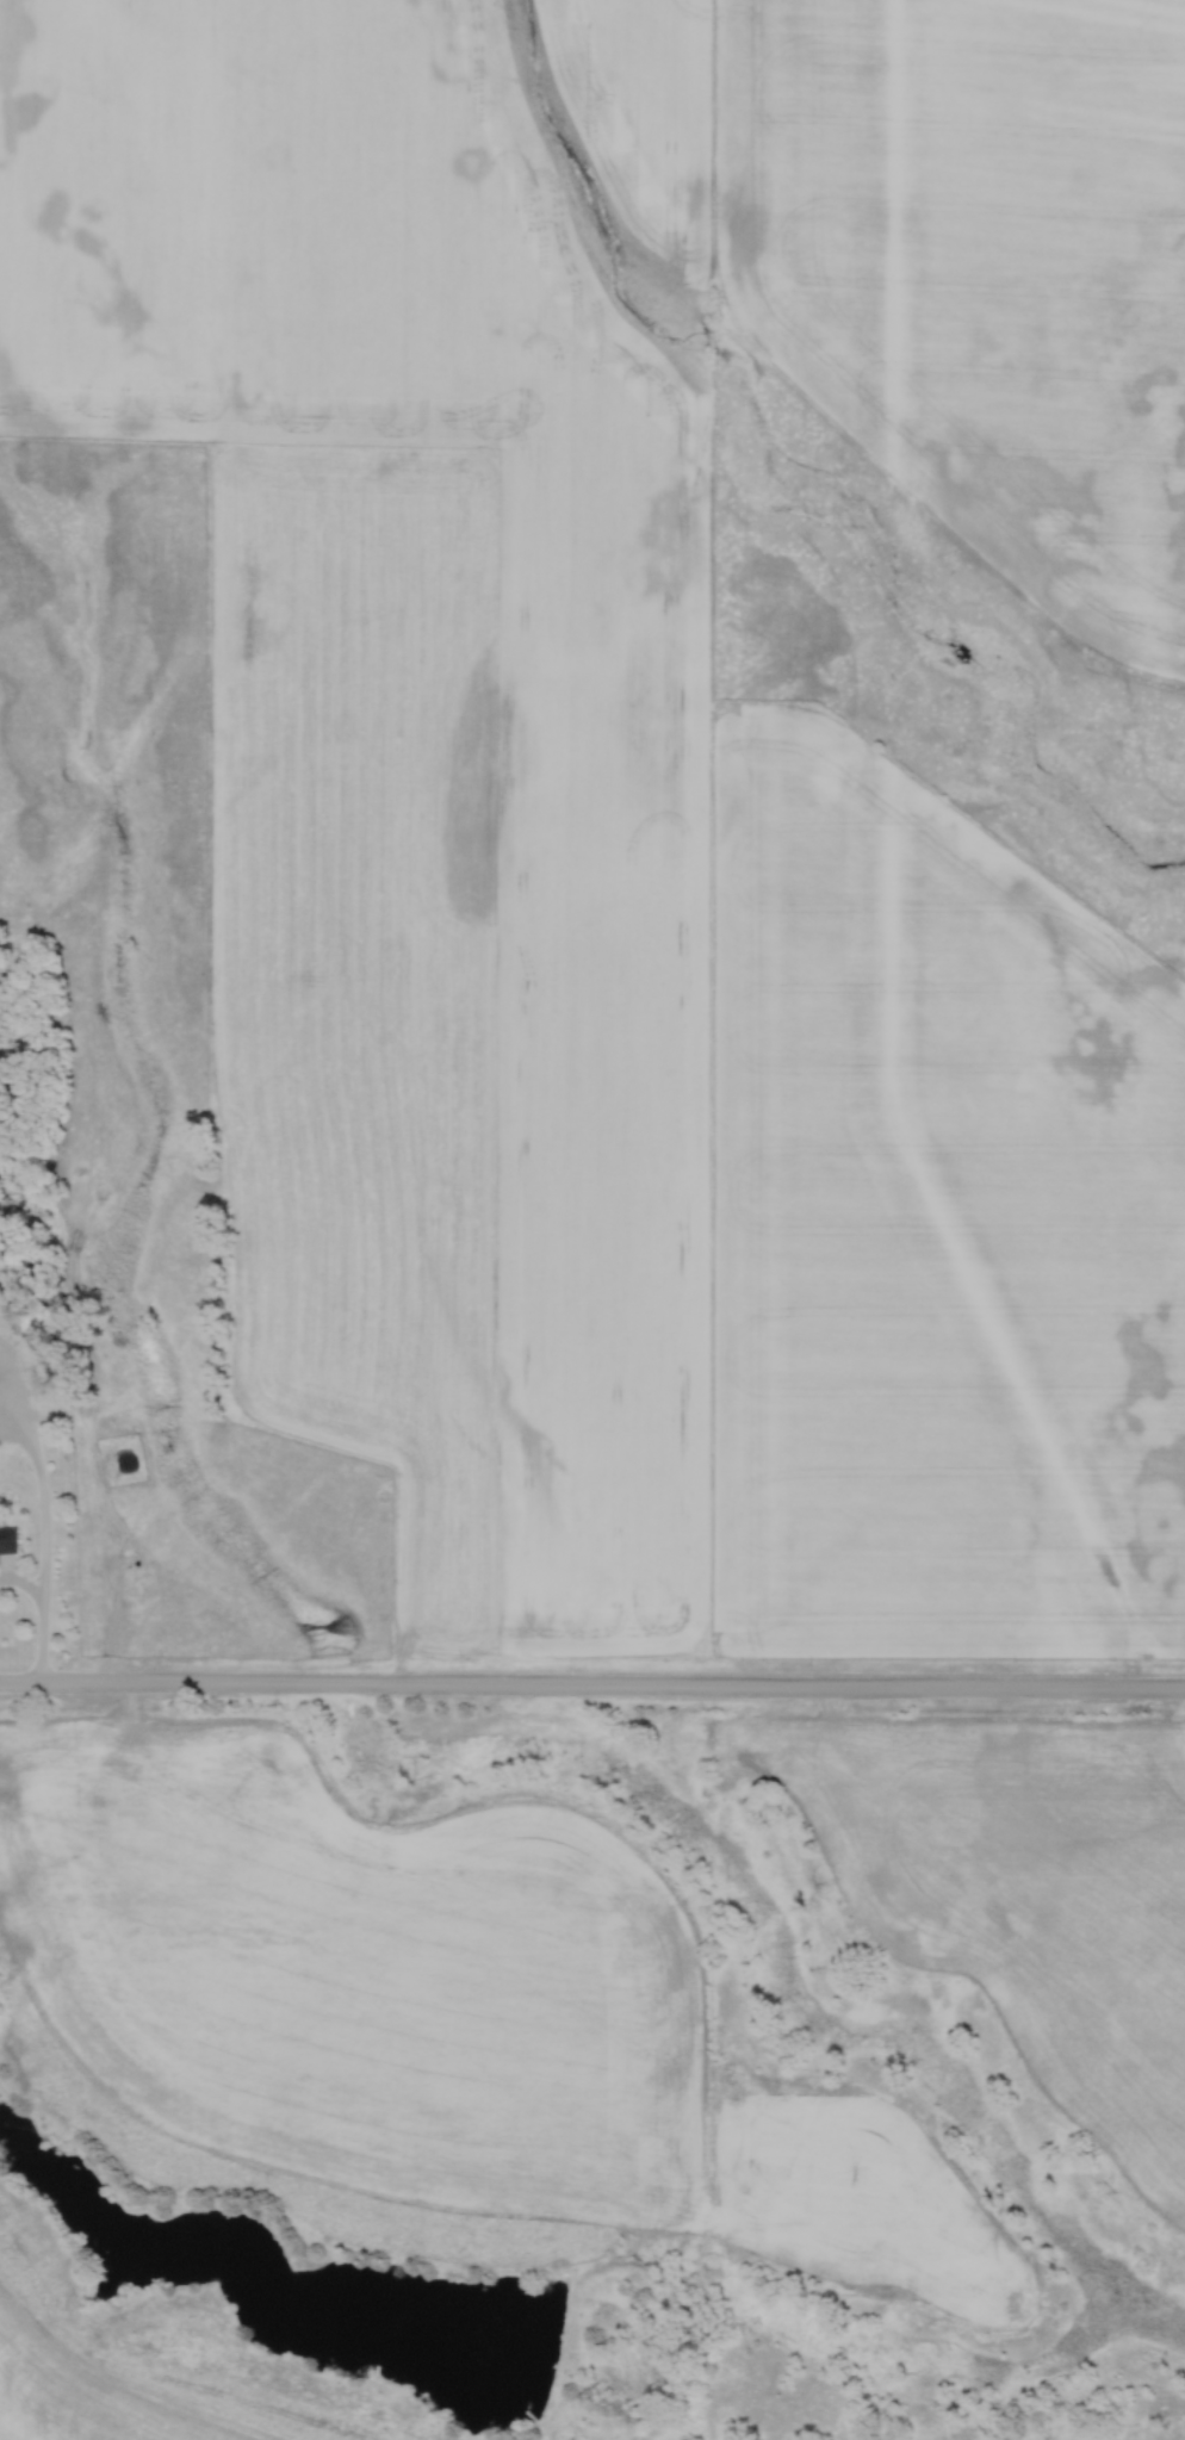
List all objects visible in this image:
road: (39, 1620)
road: (591, 1690)

